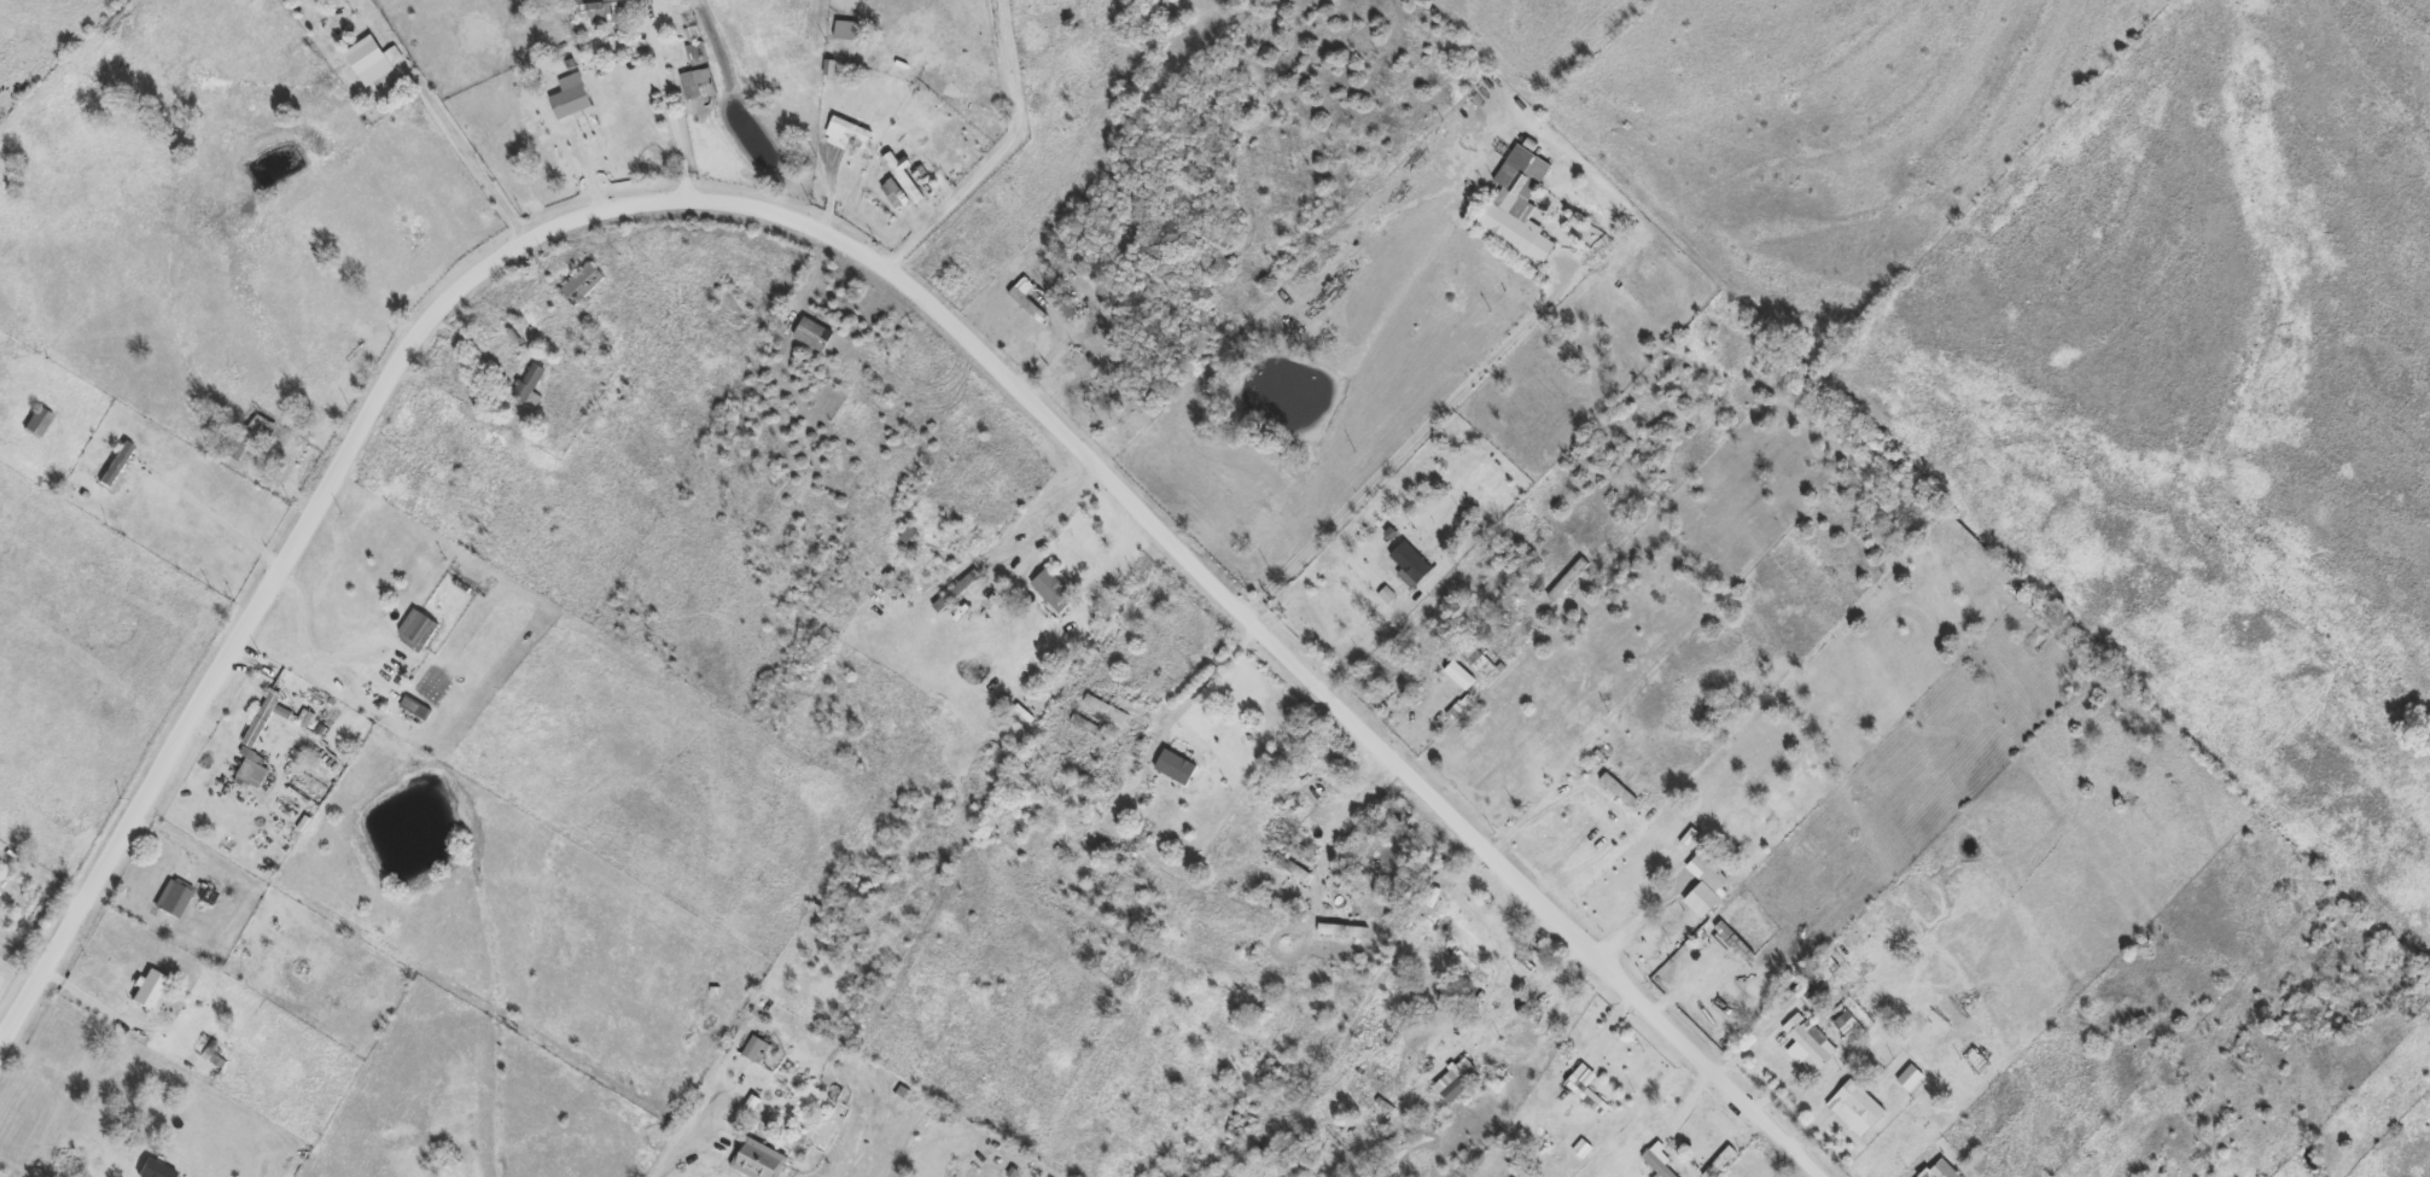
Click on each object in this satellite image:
building: (594, 10)
building: (697, 54)
building: (373, 59)
building: (699, 83)
building: (572, 101)
road: (681, 105)
building: (849, 129)
road: (478, 151)
road: (1003, 155)
building: (1517, 215)
road: (863, 254)
building: (583, 284)
building: (1059, 296)
building: (589, 339)
building: (531, 386)
building: (37, 421)
building: (251, 436)
road: (1404, 455)
road: (218, 507)
road: (1050, 507)
building: (908, 536)
building: (1414, 564)
building: (1568, 581)
building: (1053, 582)
building: (1663, 596)
building: (418, 631)
road: (313, 635)
building: (1476, 660)
road: (1210, 681)
building: (416, 707)
building: (266, 717)
building: (1089, 728)
building: (1181, 767)
building: (1619, 791)
building: (1301, 849)
building: (1294, 867)
building: (1712, 874)
building: (215, 893)
building: (173, 898)
road: (1638, 913)
building: (1735, 943)
building: (1467, 965)
building: (1820, 972)
building: (150, 987)
building: (1794, 995)
building: (1808, 1042)
building: (756, 1048)
building: (1455, 1079)
building: (1587, 1096)
building: (1861, 1112)
road: (688, 1147)
building: (759, 1160)
building: (1659, 1161)
building: (1946, 1170)
building: (1928, 1173)

